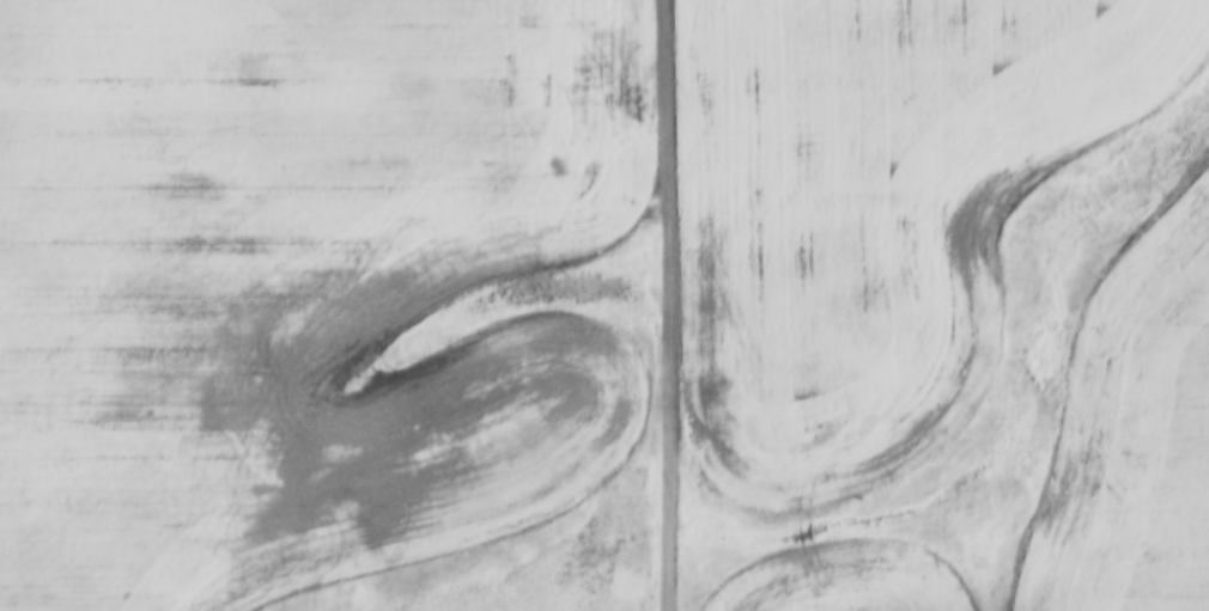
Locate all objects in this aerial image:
road: (669, 305)

